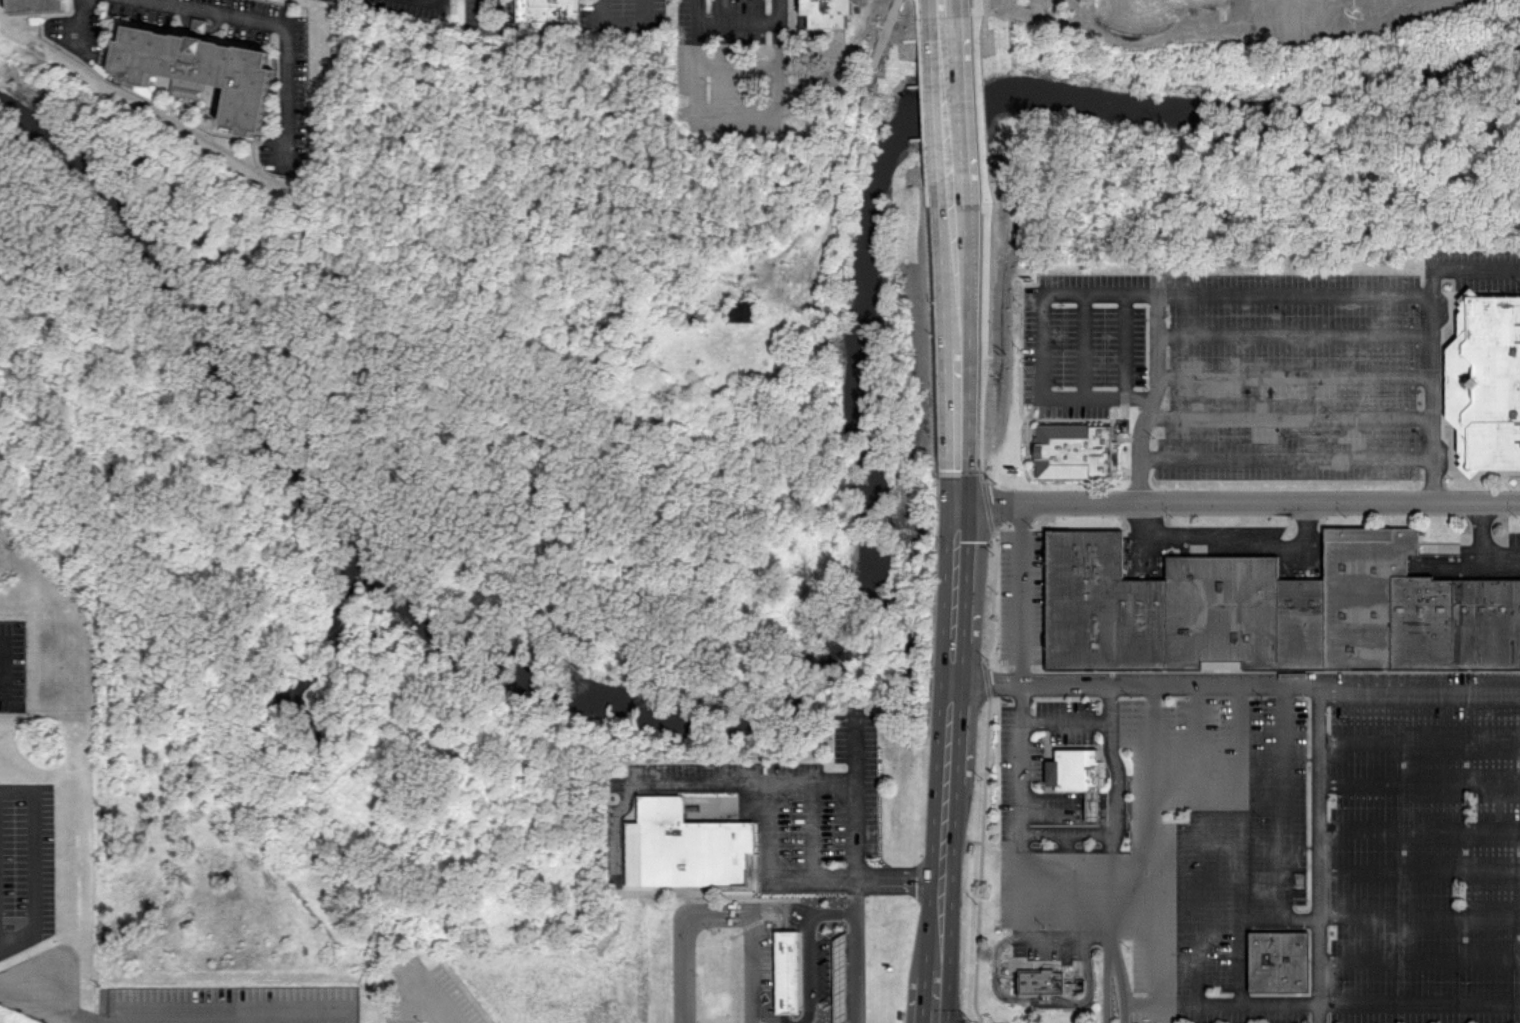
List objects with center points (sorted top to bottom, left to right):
road: (436, 1)
parking lot: (1063, 2)
building: (38, 5)
parking lot: (407, 7)
road: (1038, 8)
building: (828, 11)
building: (552, 12)
road: (943, 13)
parking lot: (477, 14)
road: (1084, 14)
parking lot: (626, 16)
road: (83, 20)
road: (739, 22)
road: (624, 25)
building: (199, 26)
road: (283, 26)
road: (488, 27)
road: (1126, 42)
parking lot: (734, 64)
road: (739, 68)
building: (205, 69)
parking lot: (293, 92)
road: (868, 101)
road: (738, 108)
road: (948, 109)
road: (955, 281)
road: (1187, 291)
road: (769, 296)
building: (739, 311)
road: (1293, 333)
road: (1430, 338)
road: (1039, 340)
road: (1081, 344)
road: (1123, 344)
road: (1292, 374)
building: (1485, 379)
road: (1287, 414)
road: (959, 436)
building: (1073, 449)
road: (1283, 455)
traffic signals: (961, 501)
road: (1240, 501)
road: (1230, 540)
road: (1480, 551)
road: (959, 571)
road: (1023, 592)
building: (1274, 609)
river: (840, 629)
road: (957, 663)
road: (5, 668)
road: (1137, 684)
road: (1419, 696)
road: (1067, 719)
road: (955, 731)
road: (1418, 740)
building: (1077, 775)
road: (738, 780)
road: (1418, 782)
road: (1113, 801)
road: (1153, 801)
road: (1198, 801)
road: (1242, 801)
road: (1283, 801)
road: (856, 805)
road: (950, 827)
road: (1418, 828)
road: (767, 829)
road: (812, 829)
road: (1067, 835)
building: (687, 847)
road: (1317, 853)
road: (34, 862)
road: (1418, 870)
road: (879, 876)
road: (1067, 876)
road: (790, 878)
road: (1418, 917)
road: (944, 918)
road: (1050, 918)
road: (736, 921)
road: (1052, 935)
road: (1418, 959)
building: (1279, 960)
road: (1199, 961)
road: (1238, 961)
road: (942, 968)
road: (1106, 970)
road: (1122, 970)
building: (786, 971)
road: (817, 973)
building: (839, 978)
building: (1042, 980)
road: (23, 991)
road: (424, 999)
road: (940, 999)
road: (1039, 1000)
road: (1418, 1001)
road: (1192, 1004)
road: (1139, 1005)
road: (75, 1007)
road: (273, 1010)

